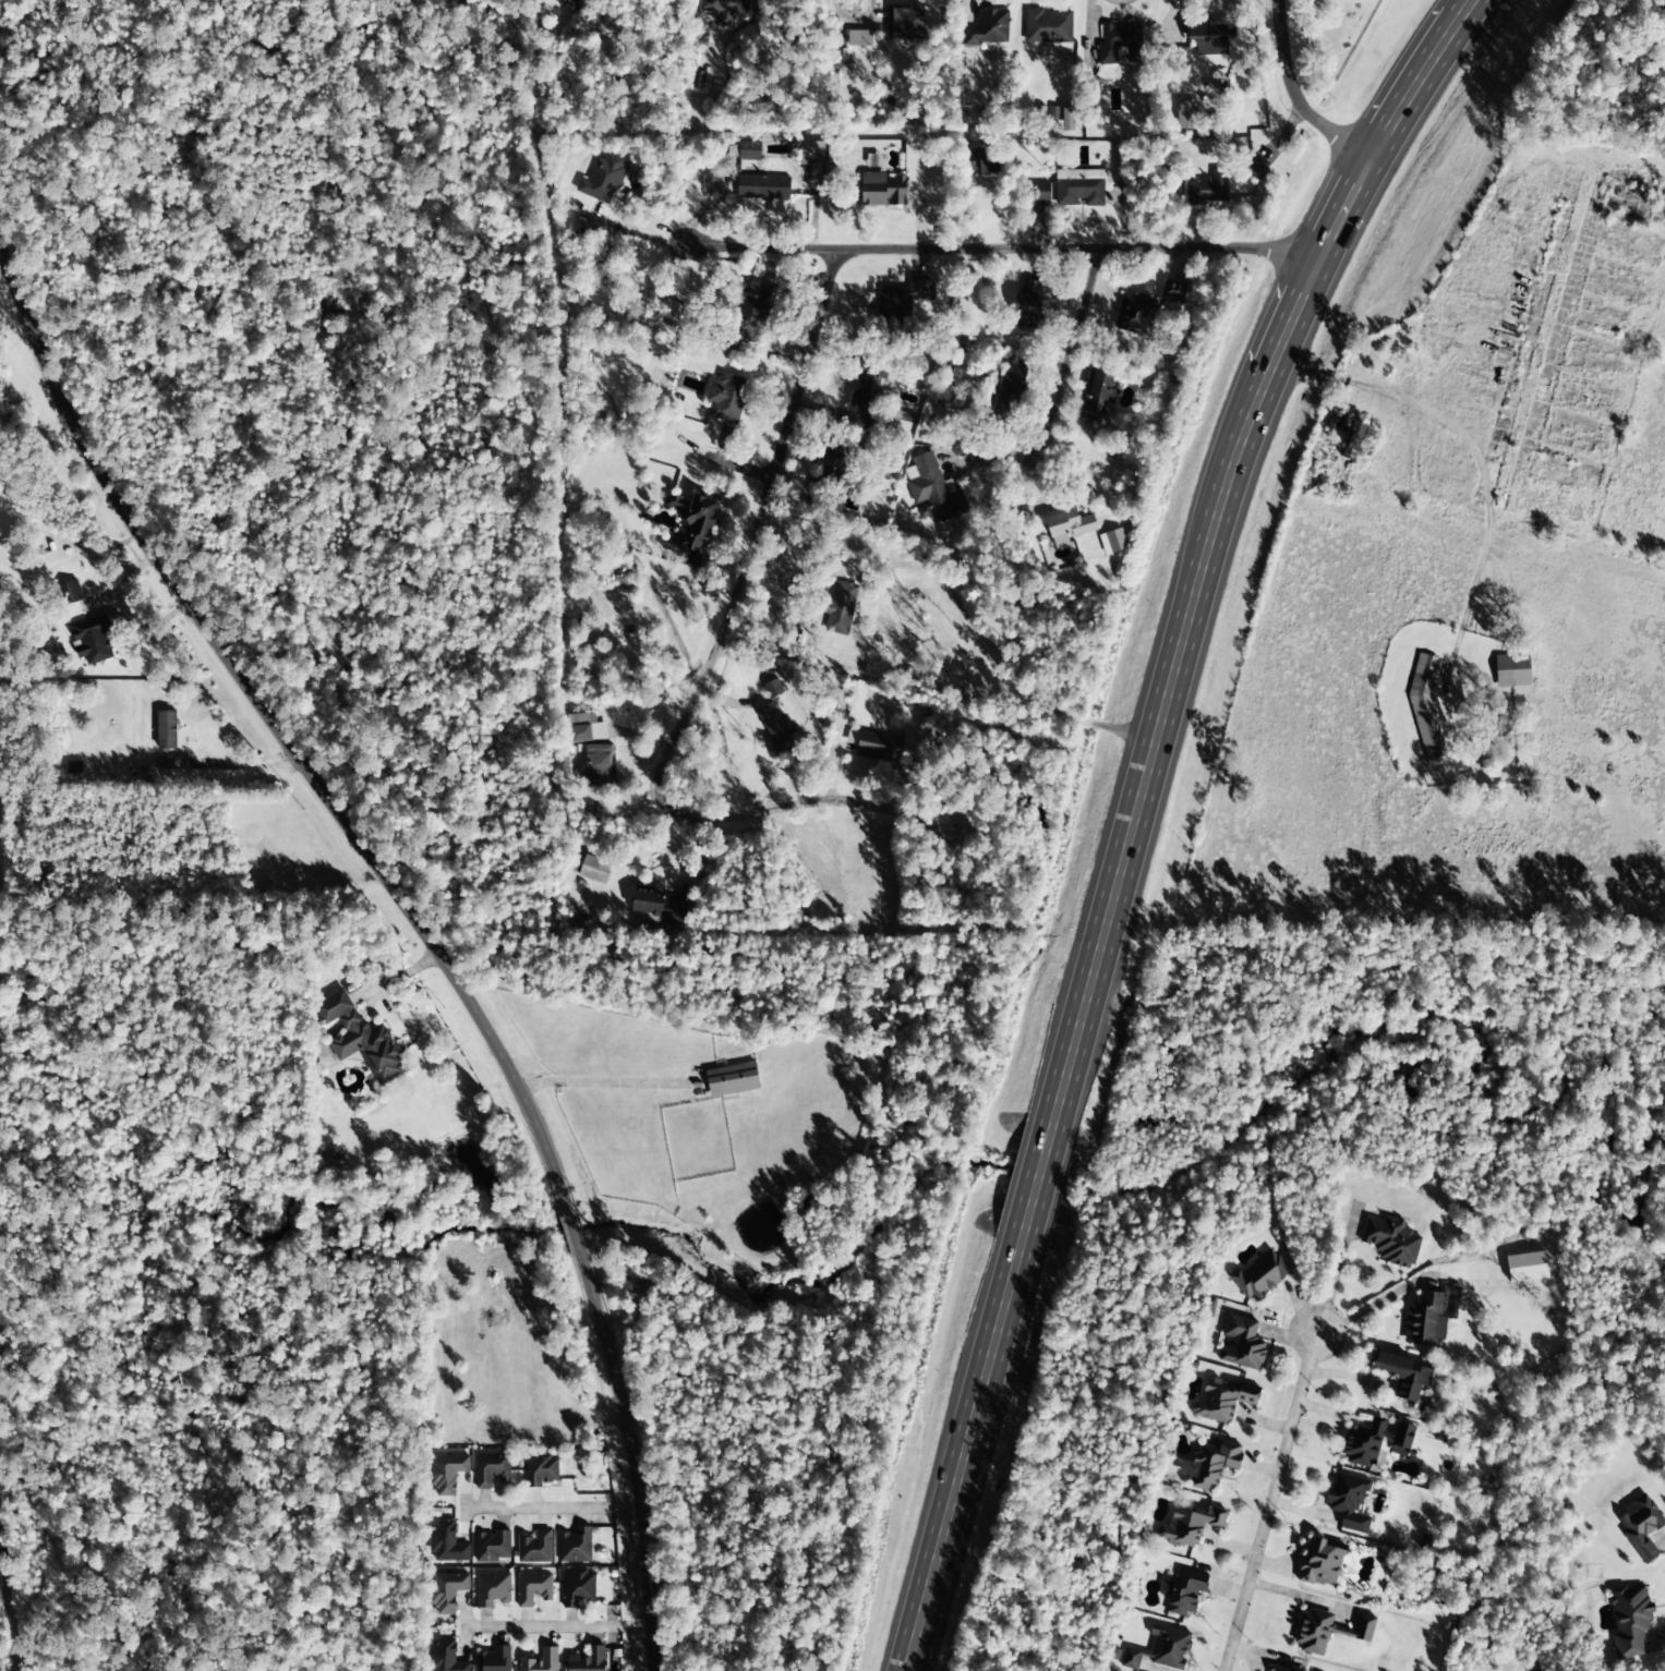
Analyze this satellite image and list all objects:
building: (725, 10)
road: (1168, 15)
building: (905, 23)
building: (1047, 27)
building: (988, 28)
road: (1081, 36)
building: (859, 38)
building: (1210, 38)
building: (1118, 44)
road: (1292, 98)
building: (1186, 116)
building: (749, 152)
building: (984, 161)
building: (1254, 166)
building: (603, 179)
building: (763, 187)
building: (1079, 187)
building: (882, 190)
building: (1207, 190)
building: (1037, 192)
road: (164, 213)
road: (977, 239)
building: (1173, 293)
building: (900, 303)
building: (1026, 304)
building: (751, 310)
building: (1135, 313)
building: (674, 316)
road: (1536, 331)
road: (1069, 353)
building: (865, 387)
building: (1010, 388)
building: (1098, 397)
building: (726, 398)
building: (1337, 420)
building: (1352, 440)
road: (1473, 451)
building: (834, 464)
building: (932, 492)
building: (692, 525)
building: (1067, 526)
road: (625, 534)
road: (1208, 538)
building: (1112, 542)
building: (70, 593)
road: (713, 598)
building: (840, 608)
building: (92, 641)
building: (1511, 670)
building: (772, 689)
building: (1424, 706)
building: (775, 727)
building: (586, 728)
building: (166, 730)
road: (265, 739)
building: (874, 747)
building: (596, 766)
building: (594, 870)
building: (656, 907)
building: (360, 1039)
building: (732, 1080)
road: (1037, 1179)
road: (570, 1230)
building: (1390, 1242)
building: (1527, 1268)
building: (1260, 1275)
building: (1425, 1320)
building: (1242, 1344)
building: (1403, 1375)
building: (1222, 1401)
road: (963, 1455)
road: (630, 1460)
building: (1209, 1465)
building: (491, 1467)
building: (541, 1470)
building: (447, 1473)
building: (1348, 1500)
road: (1266, 1501)
road: (551, 1507)
building: (1640, 1526)
building: (1189, 1527)
building: (446, 1543)
building: (492, 1547)
building: (575, 1547)
building: (534, 1548)
building: (1322, 1562)
building: (577, 1587)
building: (533, 1588)
building: (492, 1589)
building: (447, 1591)
building: (1183, 1591)
building: (1630, 1620)
road: (46, 1621)
road: (556, 1626)
building: (1327, 1631)
building: (1161, 1649)
building: (445, 1657)
building: (494, 1659)
building: (588, 1660)
building: (541, 1661)
building: (1279, 1669)

